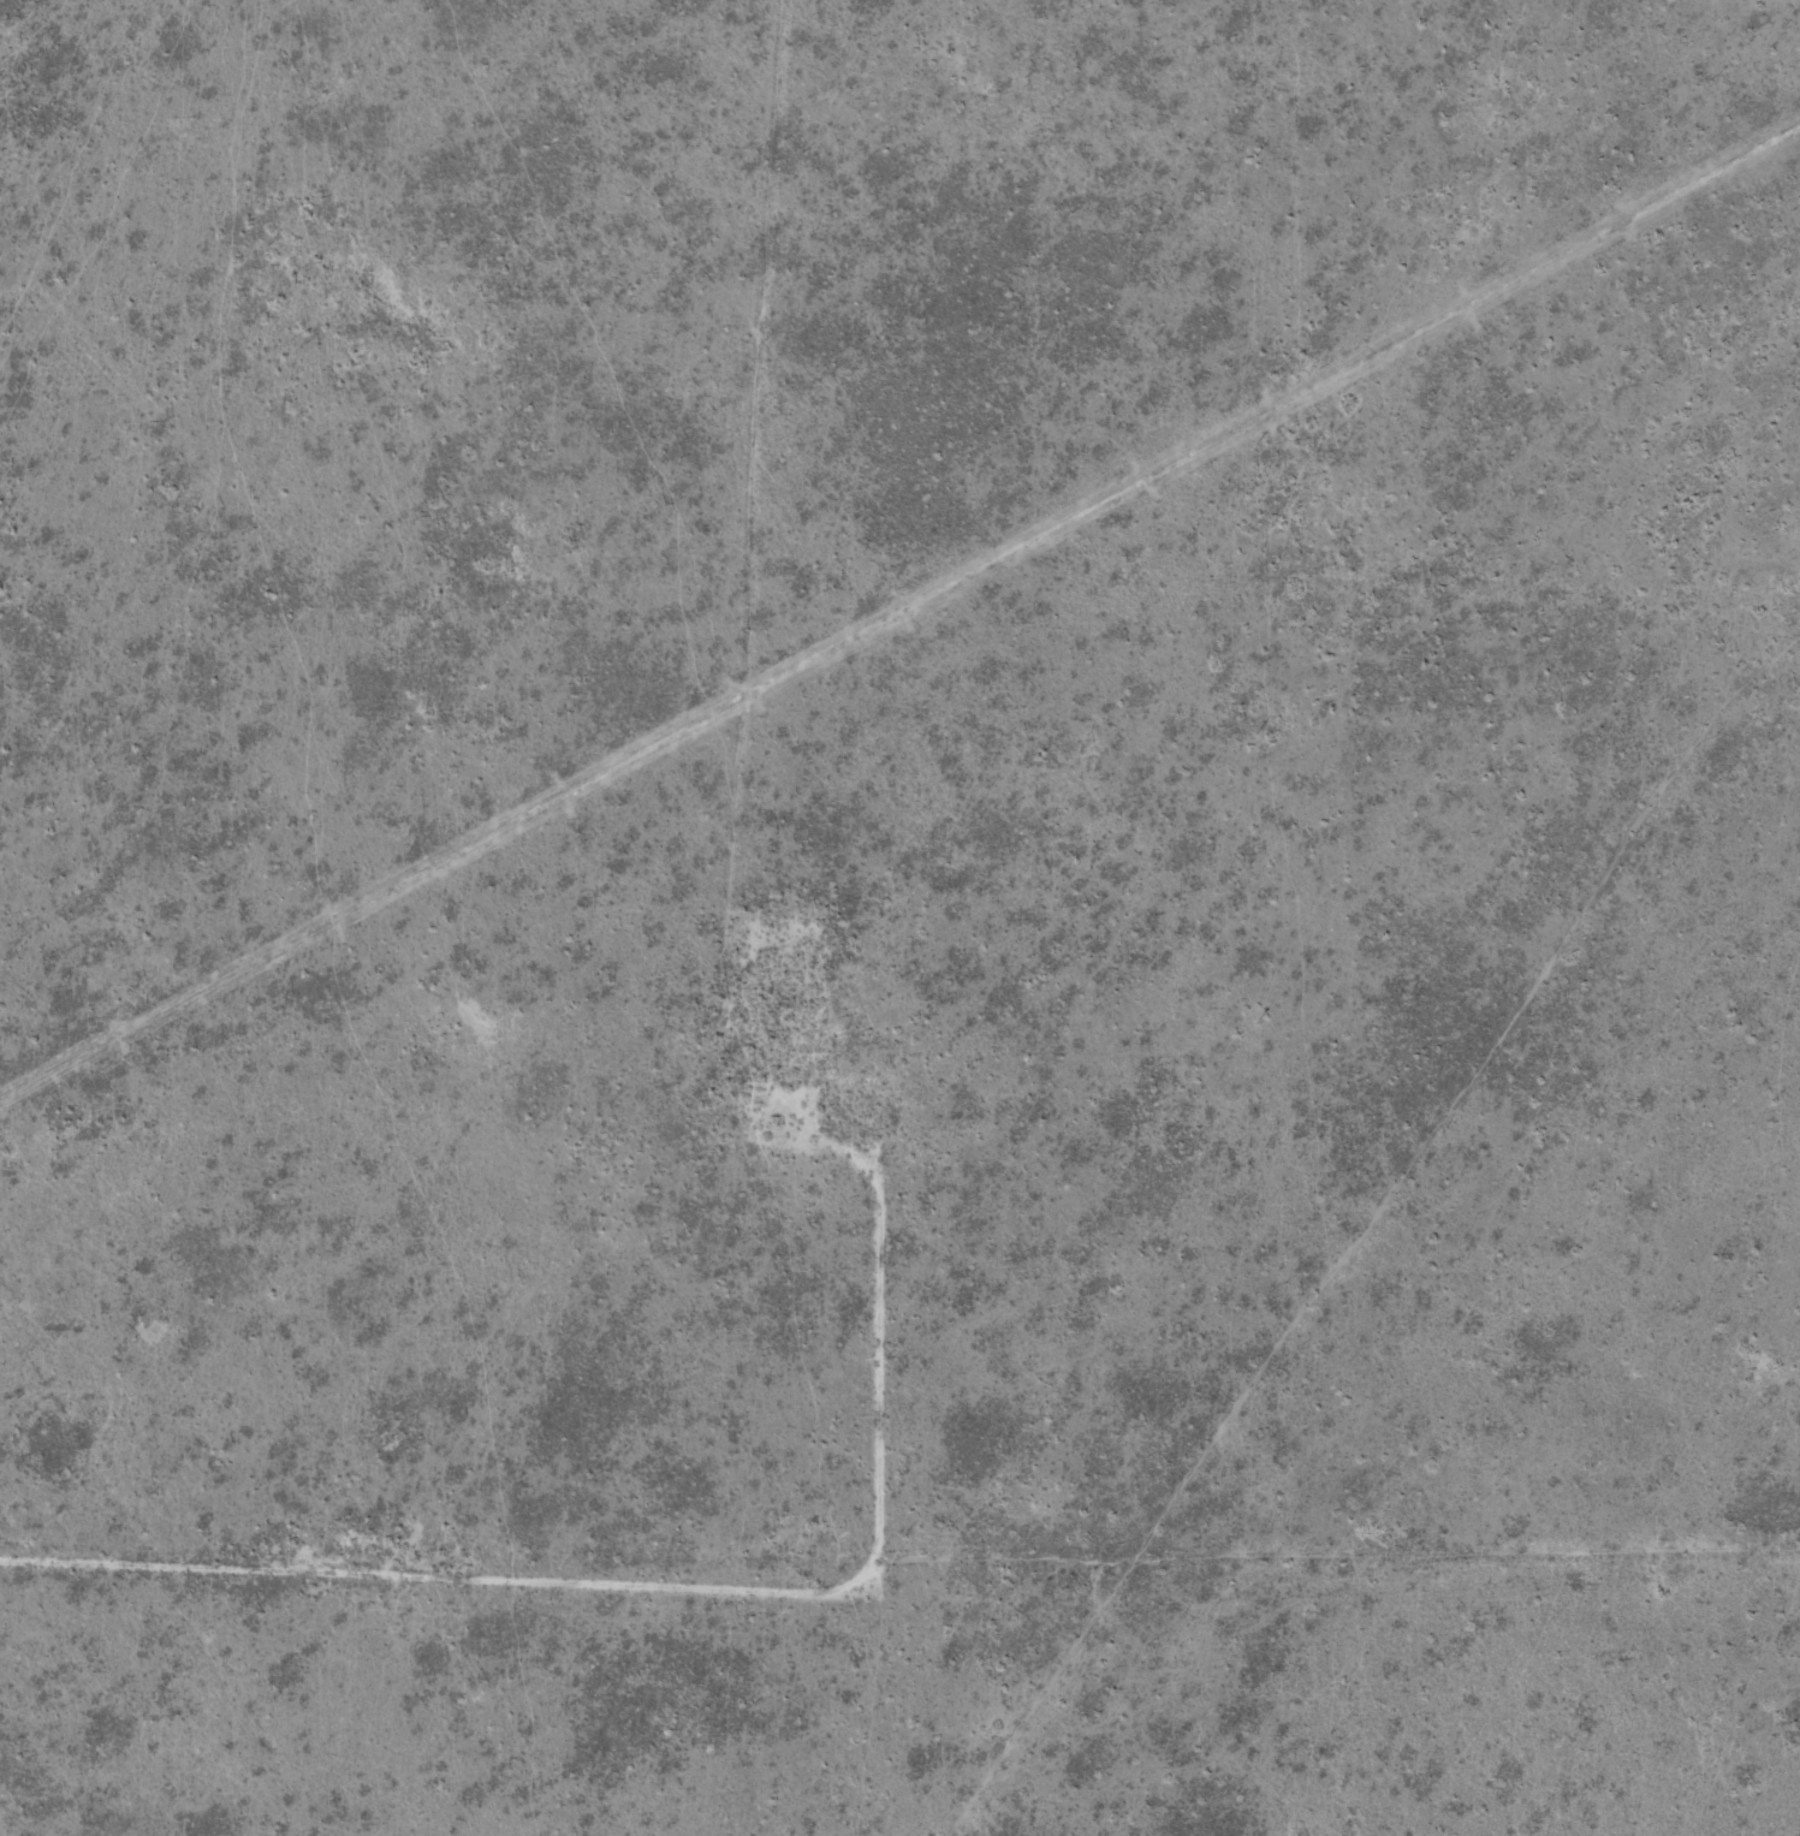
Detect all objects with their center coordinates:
road: (887, 1196)
road: (1117, 1577)

